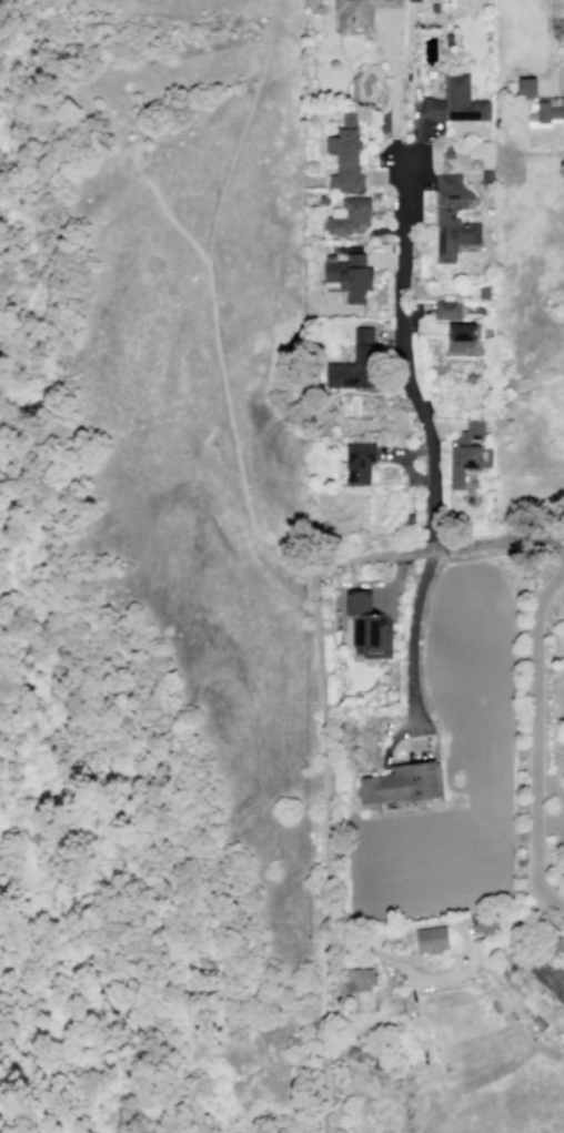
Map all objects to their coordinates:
building: (413, 0)
building: (359, 13)
building: (333, 65)
building: (526, 85)
road: (554, 85)
road: (394, 92)
building: (455, 101)
building: (546, 111)
road: (416, 128)
building: (449, 151)
building: (345, 154)
building: (486, 176)
building: (348, 215)
building: (452, 219)
road: (372, 250)
building: (349, 275)
road: (212, 304)
building: (446, 310)
building: (461, 336)
building: (354, 363)
road: (439, 425)
road: (430, 445)
building: (469, 453)
building: (359, 463)
road: (442, 549)
road: (396, 579)
road: (43, 599)
building: (369, 626)
crop: (475, 668)
road: (535, 724)
road: (395, 734)
building: (401, 783)
road: (552, 785)
road: (551, 822)
road: (562, 828)
crop: (430, 836)
road: (326, 847)
crop: (431, 891)
building: (481, 923)
building: (432, 939)
building: (552, 945)
road: (459, 970)
building: (546, 977)
building: (359, 979)

